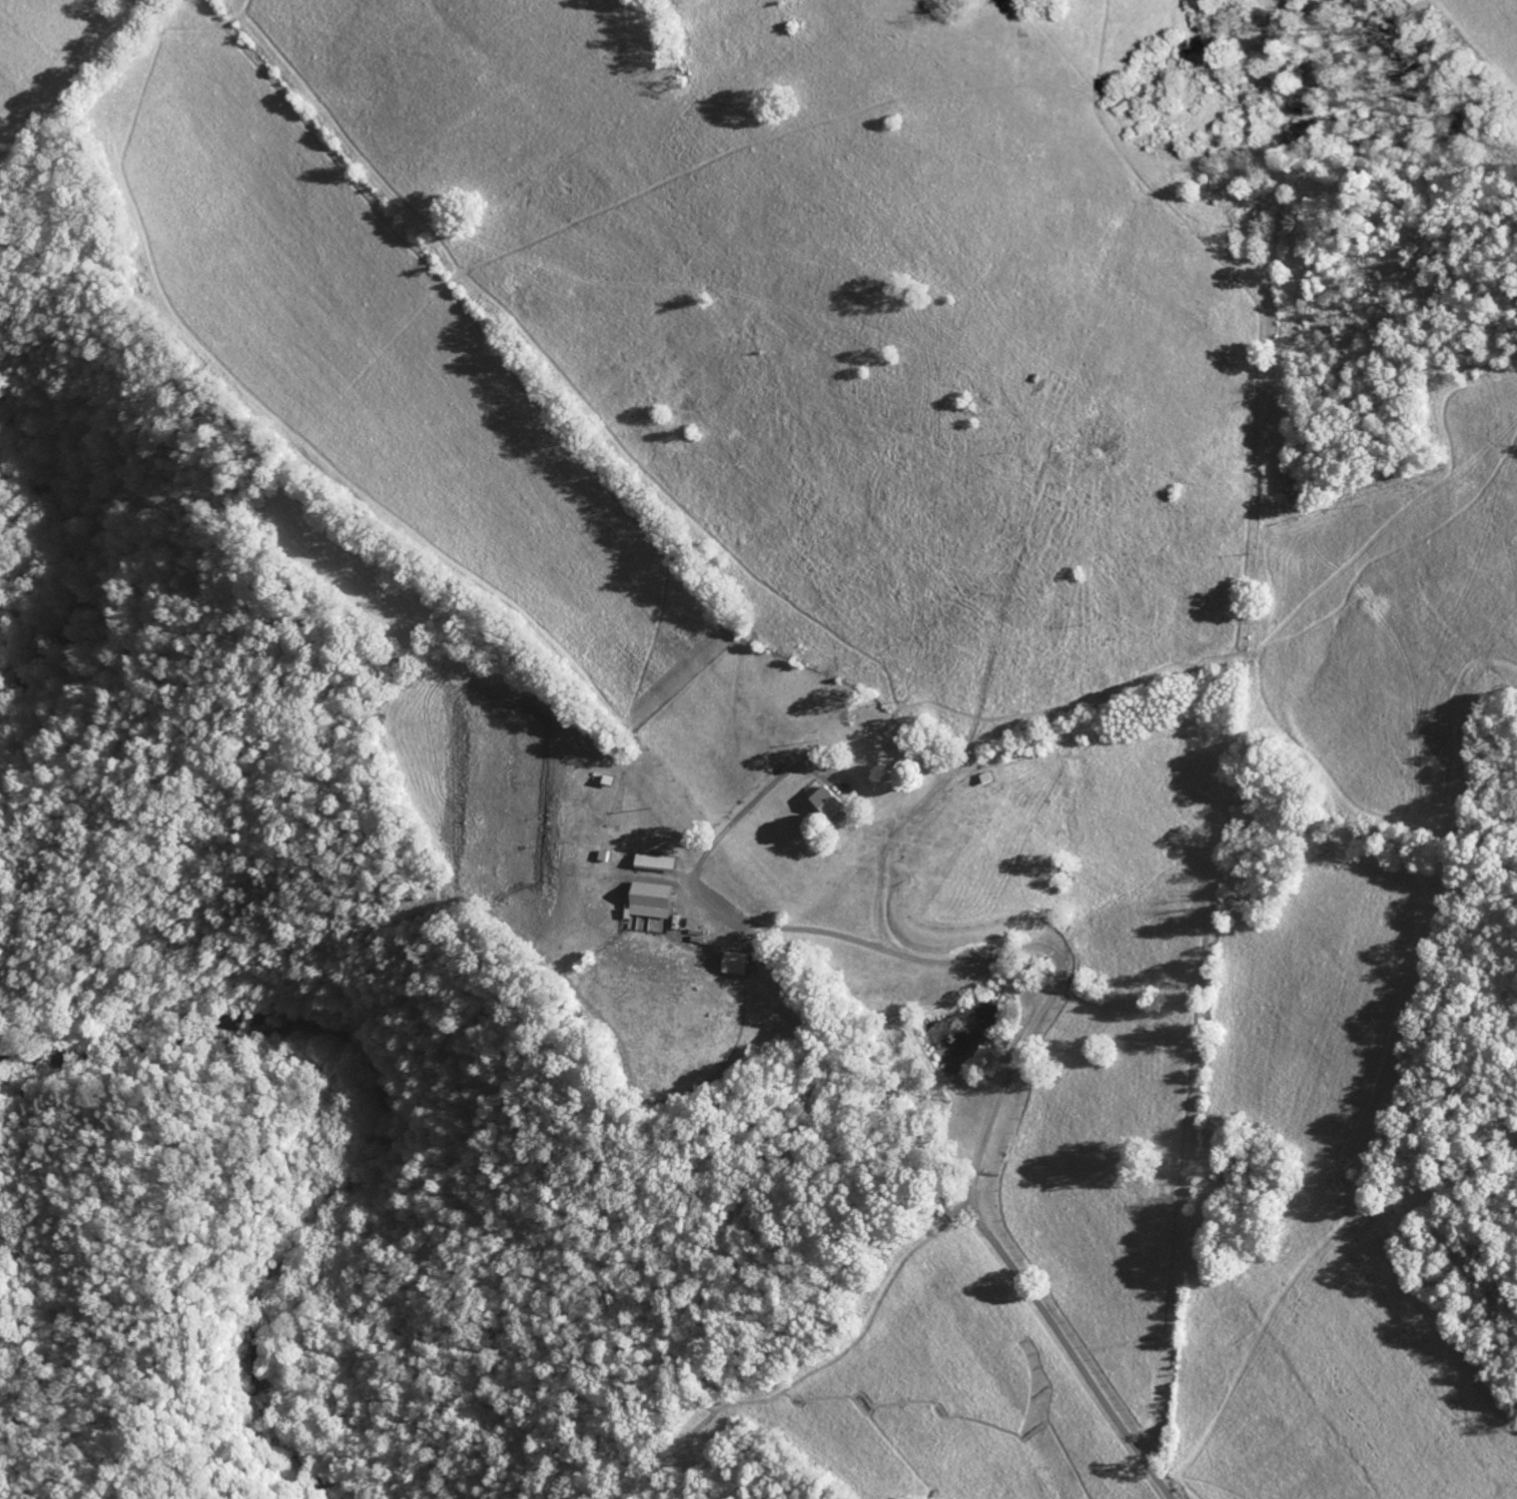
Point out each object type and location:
building: (828, 803)
building: (656, 862)
building: (650, 901)
road: (975, 955)
building: (736, 962)
road: (165, 1159)
road: (1053, 1317)

